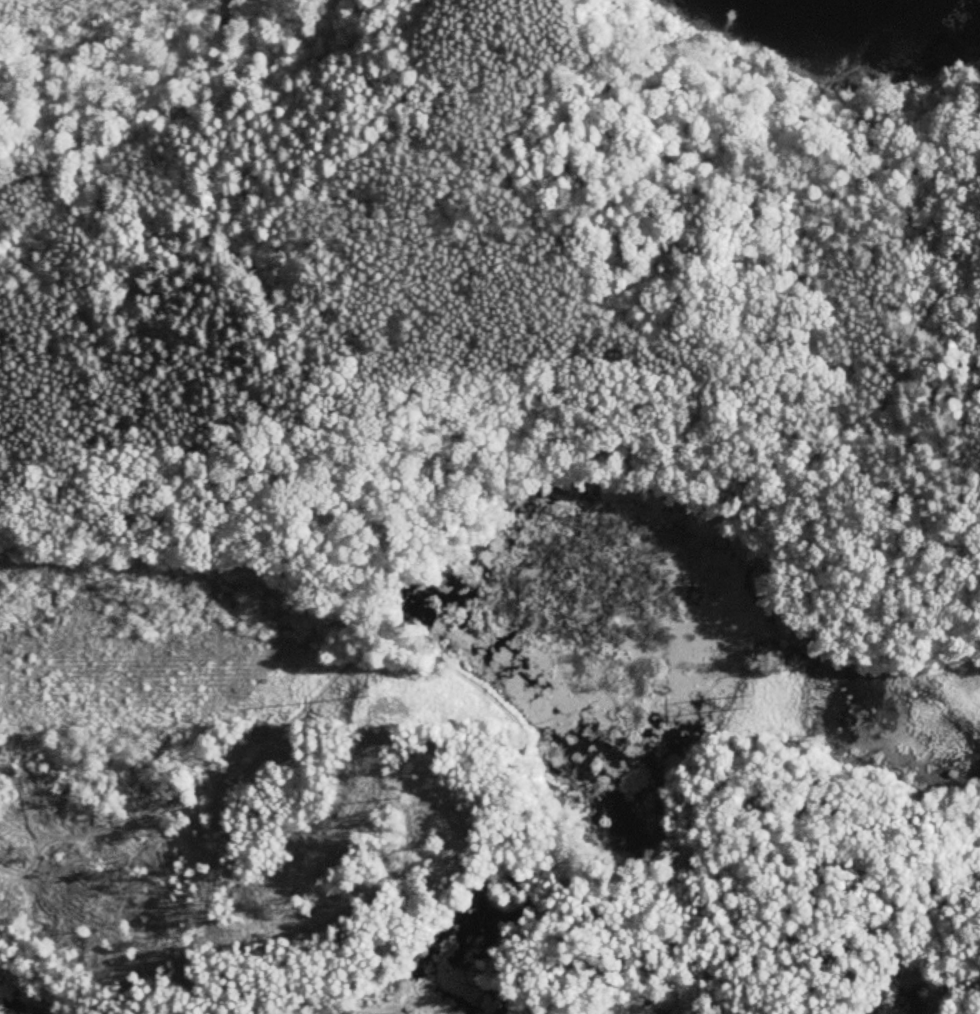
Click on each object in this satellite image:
power tower: (366, 689)
power tower: (741, 692)

